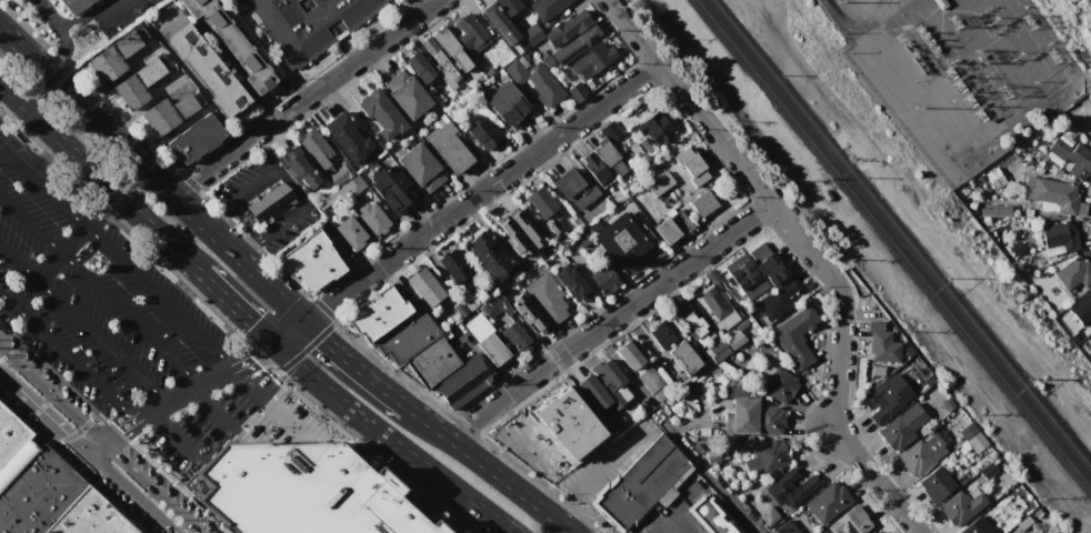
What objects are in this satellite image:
building: (524, 1)
building: (940, 3)
building: (74, 4)
road: (421, 6)
building: (507, 7)
building: (547, 8)
road: (169, 23)
building: (306, 23)
building: (499, 26)
park: (1070, 28)
building: (567, 29)
building: (468, 32)
building: (530, 34)
road: (66, 37)
power tower: (87, 38)
building: (581, 41)
building: (232, 43)
building: (451, 50)
building: (434, 53)
building: (116, 54)
building: (593, 60)
road: (229, 64)
power substation: (958, 67)
building: (420, 69)
building: (203, 71)
building: (536, 81)
building: (139, 82)
road: (3, 91)
building: (577, 92)
building: (407, 94)
road: (307, 97)
building: (509, 109)
building: (170, 111)
building: (380, 115)
building: (1081, 119)
building: (1090, 125)
building: (654, 129)
building: (611, 130)
building: (484, 134)
building: (347, 138)
building: (193, 141)
building: (447, 145)
building: (317, 151)
building: (1069, 157)
building: (609, 159)
building: (690, 167)
building: (420, 169)
building: (593, 169)
building: (301, 173)
building: (339, 173)
road: (151, 175)
road: (99, 177)
road: (291, 183)
building: (353, 183)
building: (568, 184)
building: (659, 184)
building: (391, 189)
building: (1054, 193)
building: (268, 202)
road: (466, 203)
building: (541, 203)
building: (702, 203)
building: (994, 208)
road: (213, 210)
building: (372, 215)
road: (243, 218)
building: (681, 221)
building: (527, 229)
building: (665, 231)
building: (350, 233)
railway: (901, 234)
building: (1059, 237)
building: (513, 240)
building: (581, 241)
building: (621, 241)
railway: (893, 245)
road: (248, 247)
road: (807, 252)
road: (58, 254)
road: (117, 254)
building: (489, 257)
building: (769, 260)
building: (310, 263)
building: (453, 266)
building: (747, 266)
building: (1073, 272)
building: (781, 274)
building: (734, 276)
building: (752, 278)
building: (602, 279)
building: (772, 281)
building: (572, 283)
building: (740, 285)
road: (99, 289)
building: (424, 289)
building: (1088, 295)
building: (548, 299)
building: (779, 300)
building: (713, 302)
road: (236, 308)
building: (459, 309)
building: (529, 314)
building: (377, 316)
road: (609, 320)
traffic signals: (304, 321)
road: (83, 322)
building: (693, 325)
parking lot: (128, 326)
building: (874, 326)
building: (660, 335)
road: (321, 336)
building: (794, 336)
building: (514, 338)
building: (406, 339)
building: (734, 340)
traffic signals: (273, 344)
building: (1087, 346)
building: (883, 348)
building: (492, 350)
building: (714, 352)
road: (68, 355)
building: (629, 356)
building: (683, 360)
building: (431, 363)
road: (229, 366)
road: (358, 366)
building: (908, 378)
building: (649, 380)
building: (928, 381)
road: (9, 384)
building: (778, 385)
building: (464, 386)
building: (602, 390)
road: (49, 391)
building: (739, 391)
road: (178, 396)
building: (884, 399)
road: (269, 400)
building: (947, 404)
road: (158, 406)
road: (579, 411)
road: (211, 414)
road: (141, 415)
building: (743, 418)
road: (48, 421)
building: (770, 421)
road: (119, 428)
building: (903, 428)
road: (78, 434)
building: (969, 434)
road: (172, 436)
road: (390, 441)
road: (90, 443)
building: (921, 454)
road: (612, 457)
building: (763, 457)
road: (493, 472)
road: (713, 476)
building: (640, 484)
building: (794, 484)
building: (935, 484)
road: (150, 485)
building: (46, 490)
road: (128, 490)
building: (299, 490)
road: (685, 495)
road: (430, 497)
road: (567, 503)
building: (828, 503)
building: (962, 505)
road: (672, 510)
building: (711, 516)
building: (768, 516)
building: (851, 522)
building: (977, 527)
building: (787, 529)
road: (506, 531)
building: (873, 531)

